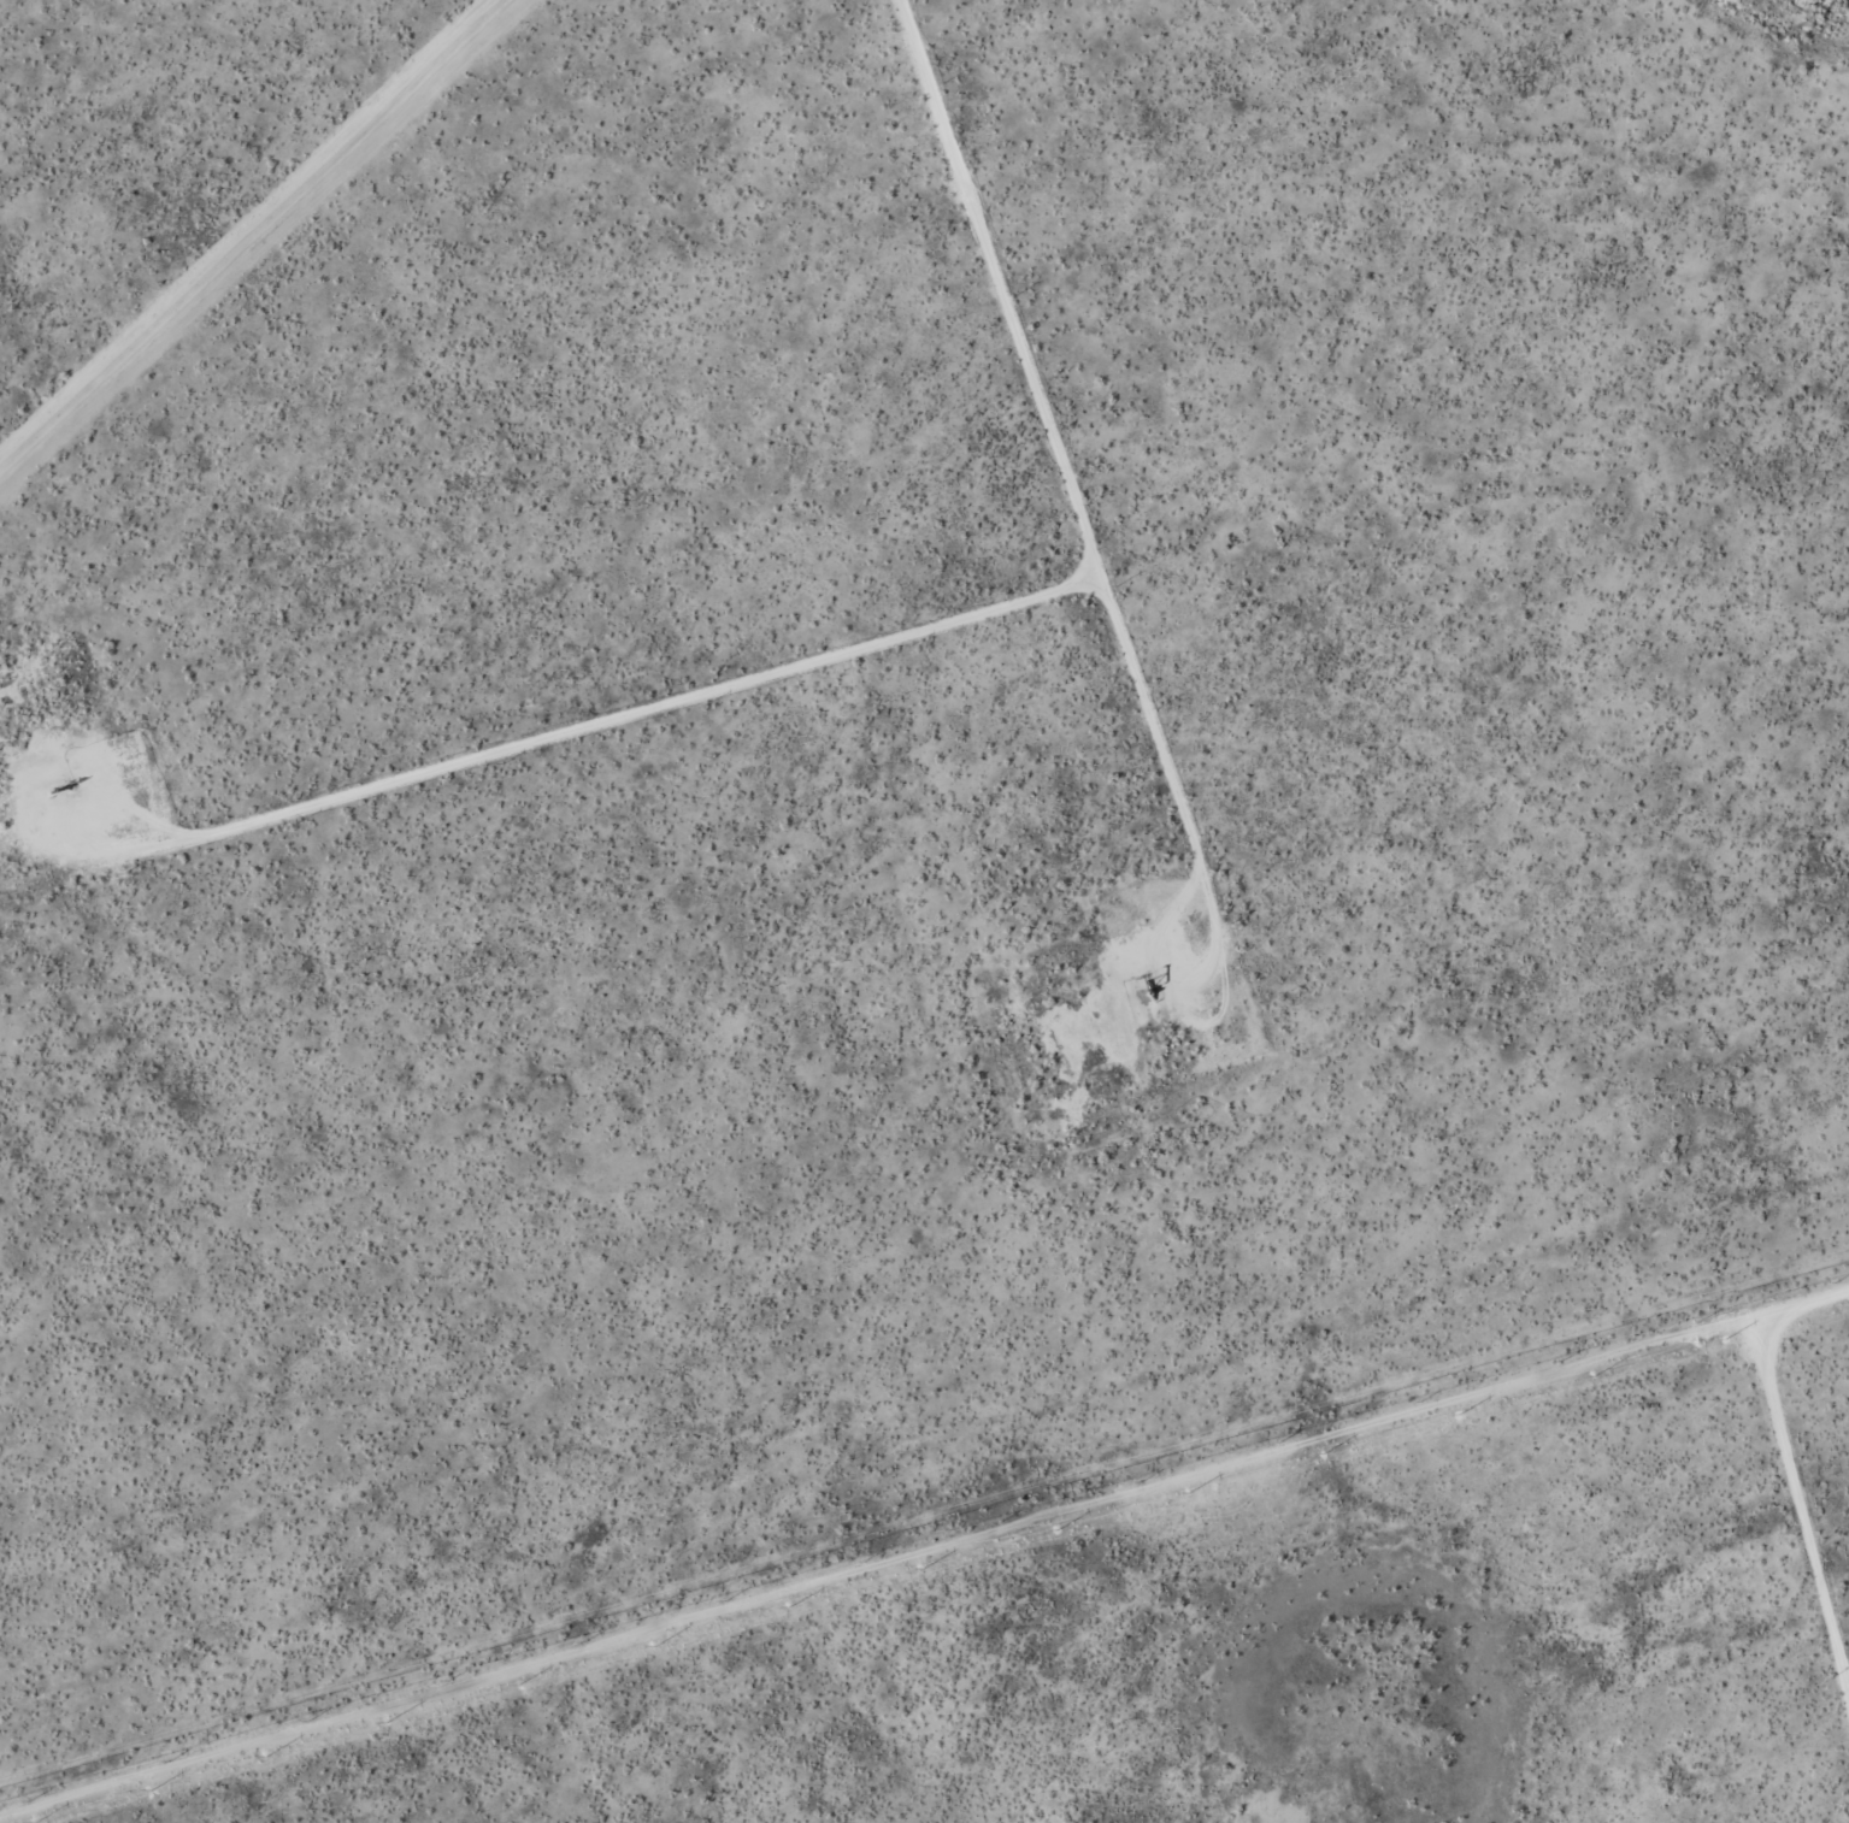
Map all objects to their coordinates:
road: (924, 1526)

